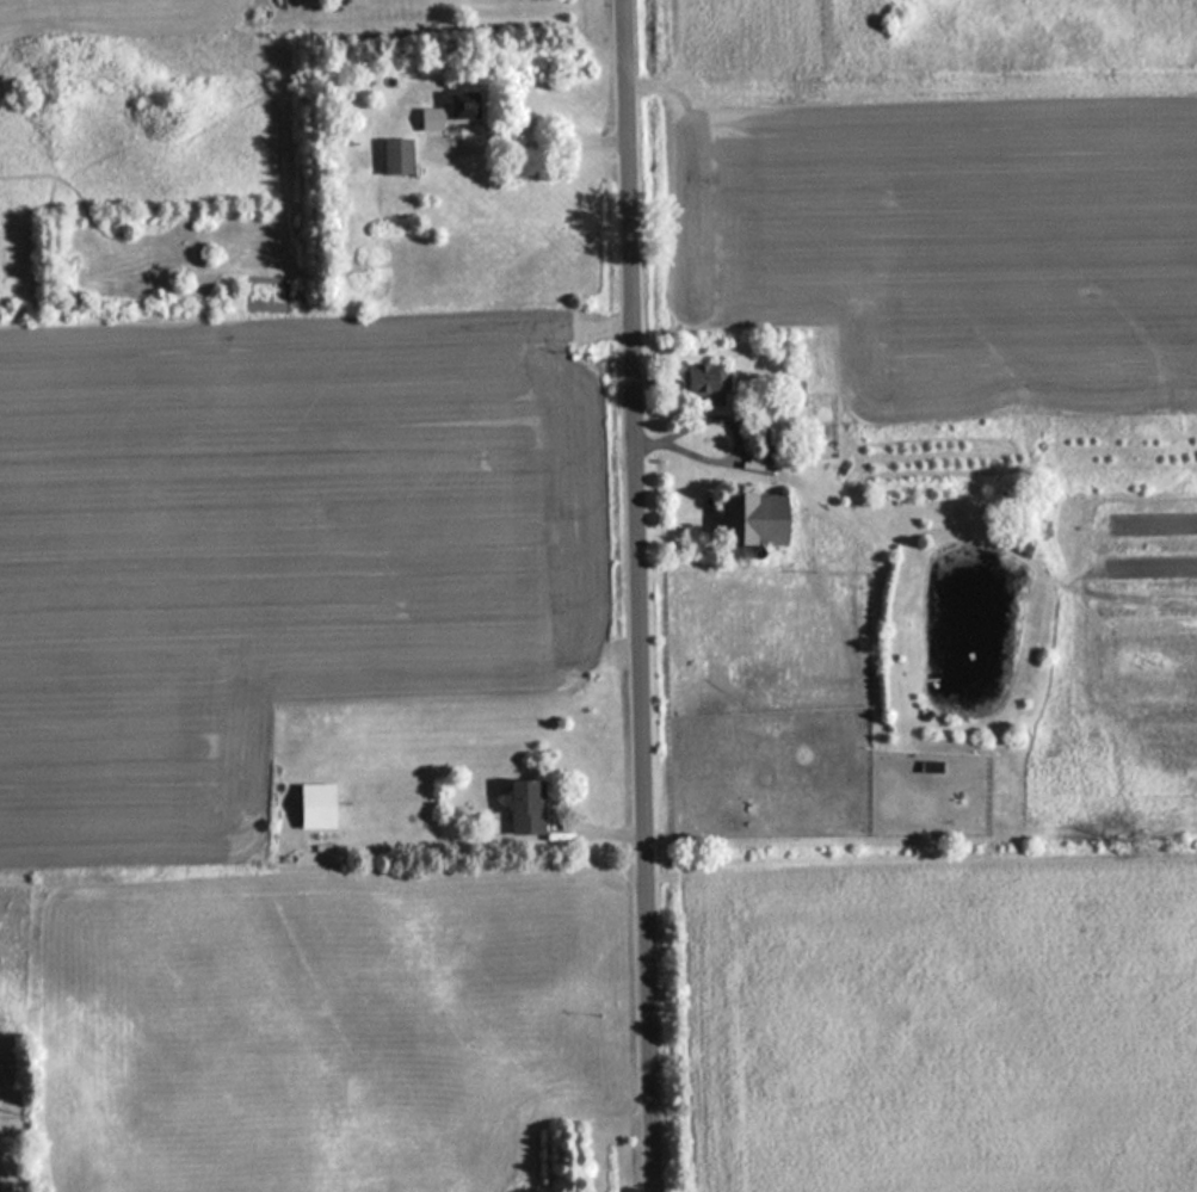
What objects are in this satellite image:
building: (451, 111)
building: (394, 156)
building: (704, 382)
building: (748, 520)
road: (640, 595)
building: (313, 807)
building: (523, 809)

